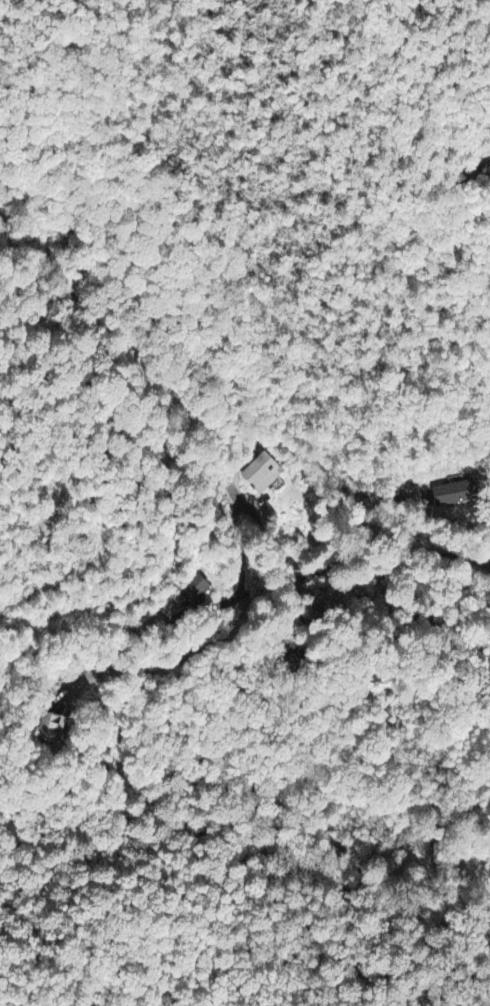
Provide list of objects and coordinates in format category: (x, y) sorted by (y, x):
road: (478, 167)
building: (263, 473)
building: (458, 493)
road: (372, 540)
road: (242, 558)
building: (198, 589)

